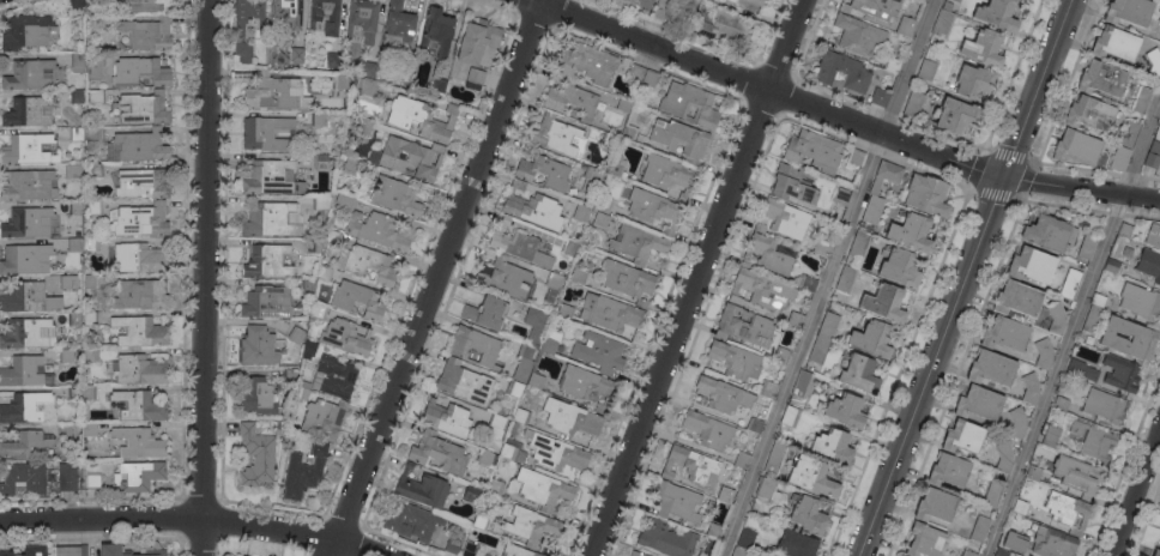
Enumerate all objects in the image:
building: (924, 0)
building: (957, 0)
building: (735, 1)
building: (756, 1)
building: (626, 2)
building: (77, 4)
building: (143, 5)
building: (947, 6)
building: (874, 7)
building: (660, 11)
building: (1129, 11)
building: (288, 12)
building: (997, 13)
building: (326, 16)
building: (362, 18)
building: (1159, 19)
building: (96, 22)
building: (673, 22)
building: (943, 23)
building: (906, 25)
building: (398, 26)
building: (721, 26)
building: (26, 31)
building: (149, 32)
building: (436, 32)
building: (858, 34)
building: (240, 35)
building: (477, 41)
building: (1116, 43)
building: (121, 46)
building: (984, 47)
building: (297, 54)
building: (333, 60)
building: (78, 62)
building: (1154, 62)
building: (587, 64)
building: (892, 64)
building: (95, 65)
building: (405, 67)
building: (368, 68)
building: (926, 69)
building: (140, 72)
building: (638, 72)
building: (841, 72)
building: (32, 74)
building: (475, 78)
building: (651, 78)
building: (1101, 78)
building: (974, 80)
building: (342, 81)
building: (367, 85)
building: (437, 85)
road: (1035, 87)
building: (276, 92)
building: (77, 96)
building: (97, 96)
building: (878, 97)
building: (572, 99)
building: (1143, 99)
building: (690, 104)
building: (914, 104)
building: (624, 105)
building: (144, 108)
building: (29, 111)
building: (1089, 113)
building: (957, 115)
road: (844, 117)
building: (320, 119)
building: (422, 119)
building: (364, 126)
building: (75, 133)
building: (93, 133)
building: (267, 133)
building: (629, 133)
building: (1129, 133)
building: (556, 134)
building: (609, 140)
building: (681, 140)
building: (141, 145)
building: (1076, 147)
building: (28, 149)
building: (814, 150)
building: (1153, 155)
building: (411, 157)
building: (856, 157)
building: (1119, 157)
building: (322, 162)
building: (351, 165)
building: (616, 165)
building: (72, 170)
building: (96, 170)
building: (544, 173)
building: (666, 174)
building: (886, 175)
building: (272, 177)
building: (591, 177)
building: (141, 183)
building: (791, 183)
building: (29, 185)
building: (926, 194)
building: (398, 195)
building: (841, 195)
building: (345, 201)
building: (321, 203)
building: (603, 204)
building: (75, 207)
building: (95, 207)
building: (532, 207)
building: (654, 208)
building: (872, 210)
building: (581, 212)
building: (783, 218)
building: (139, 219)
building: (272, 219)
building: (603, 220)
building: (30, 222)
building: (377, 230)
building: (1124, 230)
building: (912, 232)
building: (1050, 232)
building: (1153, 235)
building: (333, 237)
building: (638, 243)
building: (74, 244)
building: (90, 244)
building: (315, 244)
building: (518, 244)
building: (859, 244)
building: (1087, 246)
building: (569, 248)
building: (822, 248)
building: (1128, 252)
building: (771, 254)
building: (140, 258)
building: (28, 259)
building: (270, 261)
building: (365, 264)
building: (1149, 264)
building: (1031, 265)
building: (1113, 265)
building: (900, 267)
building: (324, 273)
building: (579, 276)
road: (205, 277)
road: (436, 277)
building: (503, 277)
road: (695, 277)
road: (826, 277)
building: (846, 279)
building: (628, 280)
building: (66, 282)
building: (90, 282)
building: (804, 283)
building: (1070, 283)
building: (308, 286)
building: (552, 286)
building: (761, 290)
building: (140, 295)
building: (23, 297)
building: (1017, 298)
building: (357, 300)
building: (1099, 300)
building: (1141, 301)
building: (267, 302)
building: (884, 302)
building: (319, 310)
building: (566, 312)
building: (487, 313)
building: (609, 313)
building: (74, 318)
building: (1092, 318)
building: (90, 319)
building: (795, 319)
building: (1057, 319)
building: (536, 325)
building: (828, 325)
building: (743, 326)
road: (1071, 326)
building: (140, 331)
building: (28, 332)
building: (1005, 333)
building: (296, 334)
building: (346, 337)
building: (872, 338)
building: (1128, 338)
building: (550, 342)
building: (258, 345)
building: (473, 345)
building: (308, 349)
building: (818, 350)
building: (599, 352)
building: (1043, 353)
building: (781, 355)
building: (66, 356)
building: (91, 356)
building: (735, 359)
building: (524, 362)
road: (931, 365)
building: (991, 367)
building: (140, 369)
building: (1081, 370)
building: (25, 371)
building: (859, 373)
building: (1120, 373)
building: (289, 374)
building: (337, 375)
building: (536, 381)
building: (464, 382)
building: (585, 383)
building: (802, 383)
building: (514, 388)
building: (767, 388)
building: (1031, 388)
building: (74, 393)
building: (89, 393)
building: (302, 393)
building: (719, 393)
building: (256, 397)
building: (979, 403)
building: (1061, 404)
building: (138, 405)
building: (1104, 405)
building: (24, 407)
building: (600, 410)
building: (846, 410)
building: (790, 415)
building: (521, 416)
building: (570, 417)
building: (324, 418)
building: (447, 418)
building: (1017, 422)
building: (496, 424)
building: (754, 424)
building: (62, 429)
building: (90, 429)
building: (708, 429)
building: (1051, 435)
building: (962, 436)
building: (1094, 441)
building: (138, 442)
building: (28, 445)
building: (832, 445)
building: (513, 451)
building: (556, 452)
building: (439, 453)
building: (258, 455)
building: (1004, 457)
building: (485, 458)
building: (774, 458)
building: (742, 459)
building: (695, 465)
building: (948, 470)
building: (303, 471)
building: (667, 471)
building: (1033, 472)
building: (138, 475)
building: (811, 475)
building: (1079, 475)
building: (67, 476)
building: (24, 477)
building: (92, 482)
building: (422, 488)
building: (496, 488)
building: (540, 489)
building: (767, 489)
building: (471, 492)
building: (723, 492)
road: (1136, 492)
building: (992, 494)
building: (676, 501)
building: (709, 504)
building: (936, 504)
building: (1020, 507)
building: (1068, 510)
building: (806, 513)
road: (192, 519)
building: (412, 521)
building: (482, 522)
building: (531, 525)
building: (980, 528)
building: (714, 531)
building: (666, 538)
building: (745, 538)
building: (924, 540)
building: (1052, 543)
building: (453, 544)
building: (796, 544)
building: (1013, 544)
building: (1159, 544)
building: (470, 549)
building: (71, 550)
building: (152, 550)
building: (28, 551)
building: (516, 551)
building: (738, 552)
building: (968, 552)
building: (1002, 552)
building: (636, 554)
building: (1154, 554)
building: (485, 555)
building: (900, 555)
building: (901, 555)

